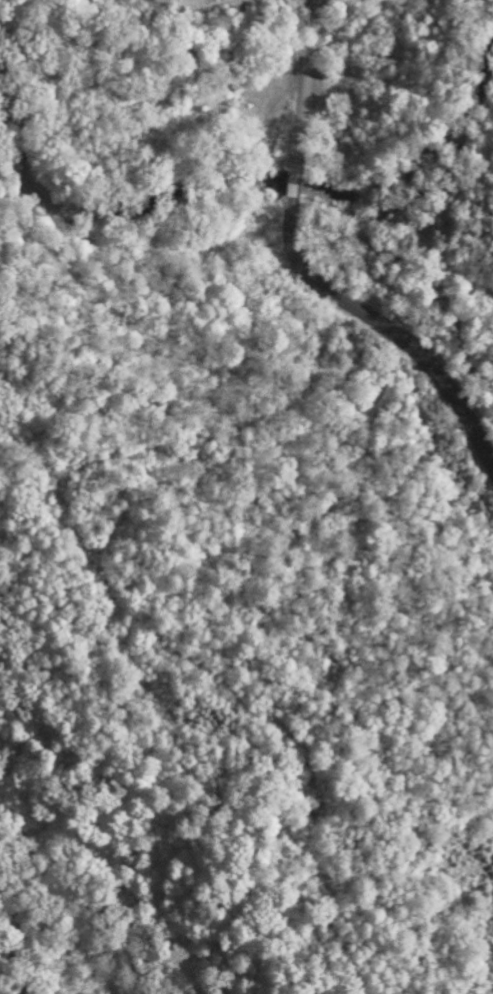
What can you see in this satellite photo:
road: (436, 214)
road: (374, 228)
road: (305, 266)
road: (367, 278)

